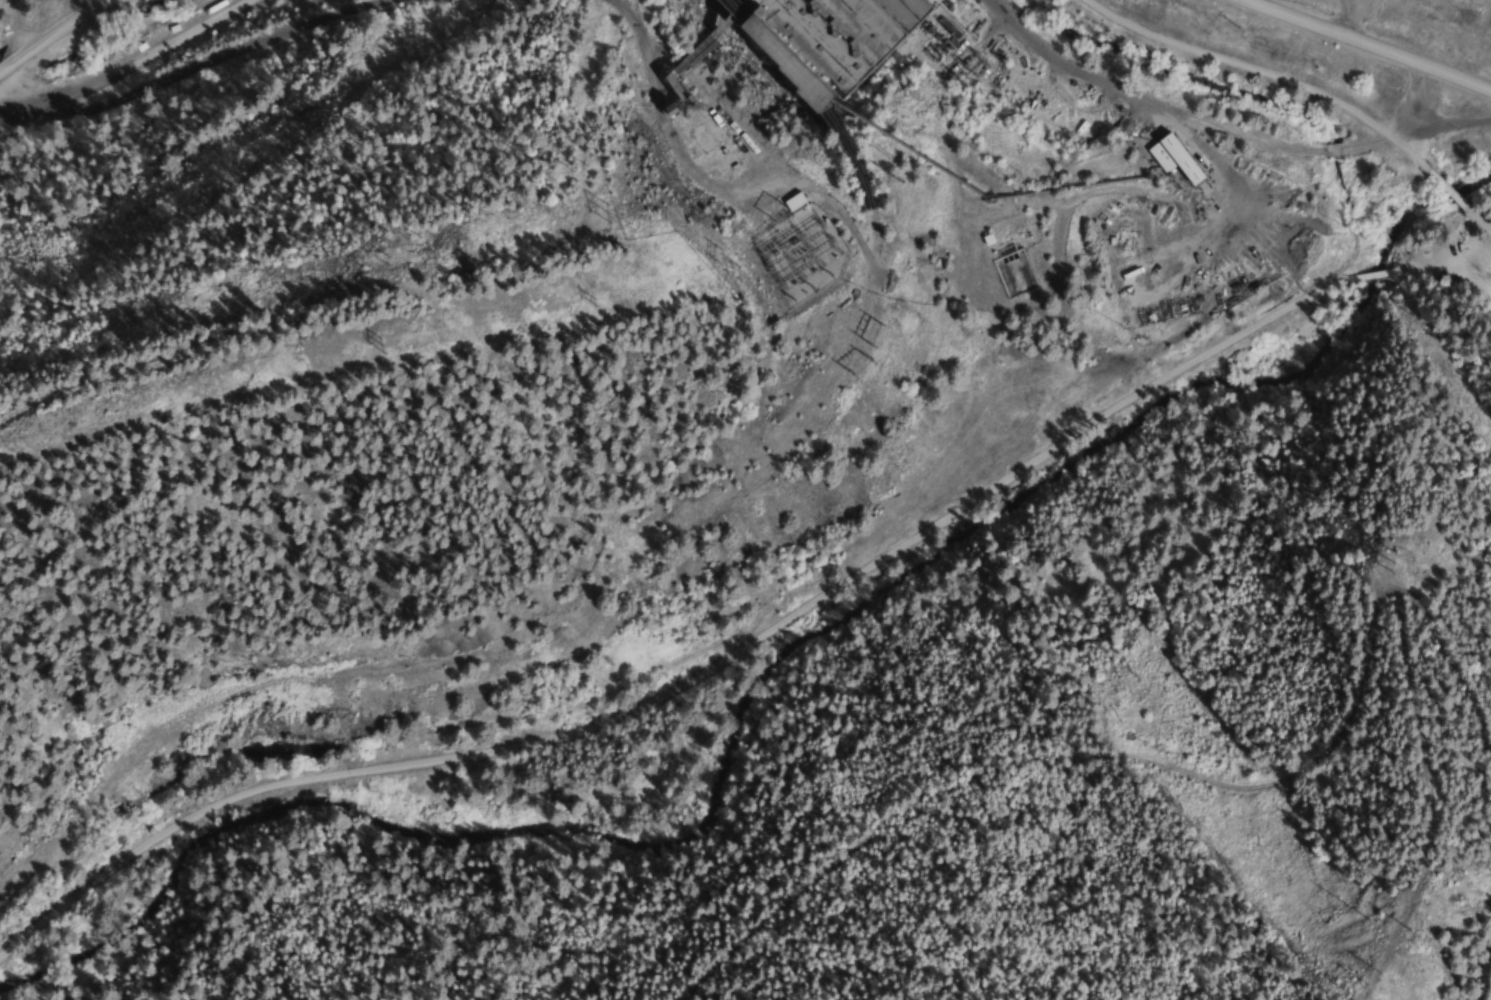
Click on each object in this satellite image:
building: (840, 36)
road: (56, 40)
road: (1367, 48)
road: (1264, 78)
road: (1453, 123)
building: (704, 131)
building: (1172, 157)
road: (1446, 187)
building: (790, 201)
road: (1479, 215)
power substation: (800, 252)
parking lot: (1477, 256)
road: (1484, 267)
power tower: (734, 268)
building: (1008, 270)
road: (1374, 274)
road: (1448, 274)
power tower: (580, 297)
power tower: (363, 342)
power tower: (856, 366)
road: (694, 676)
power tower: (1360, 984)

